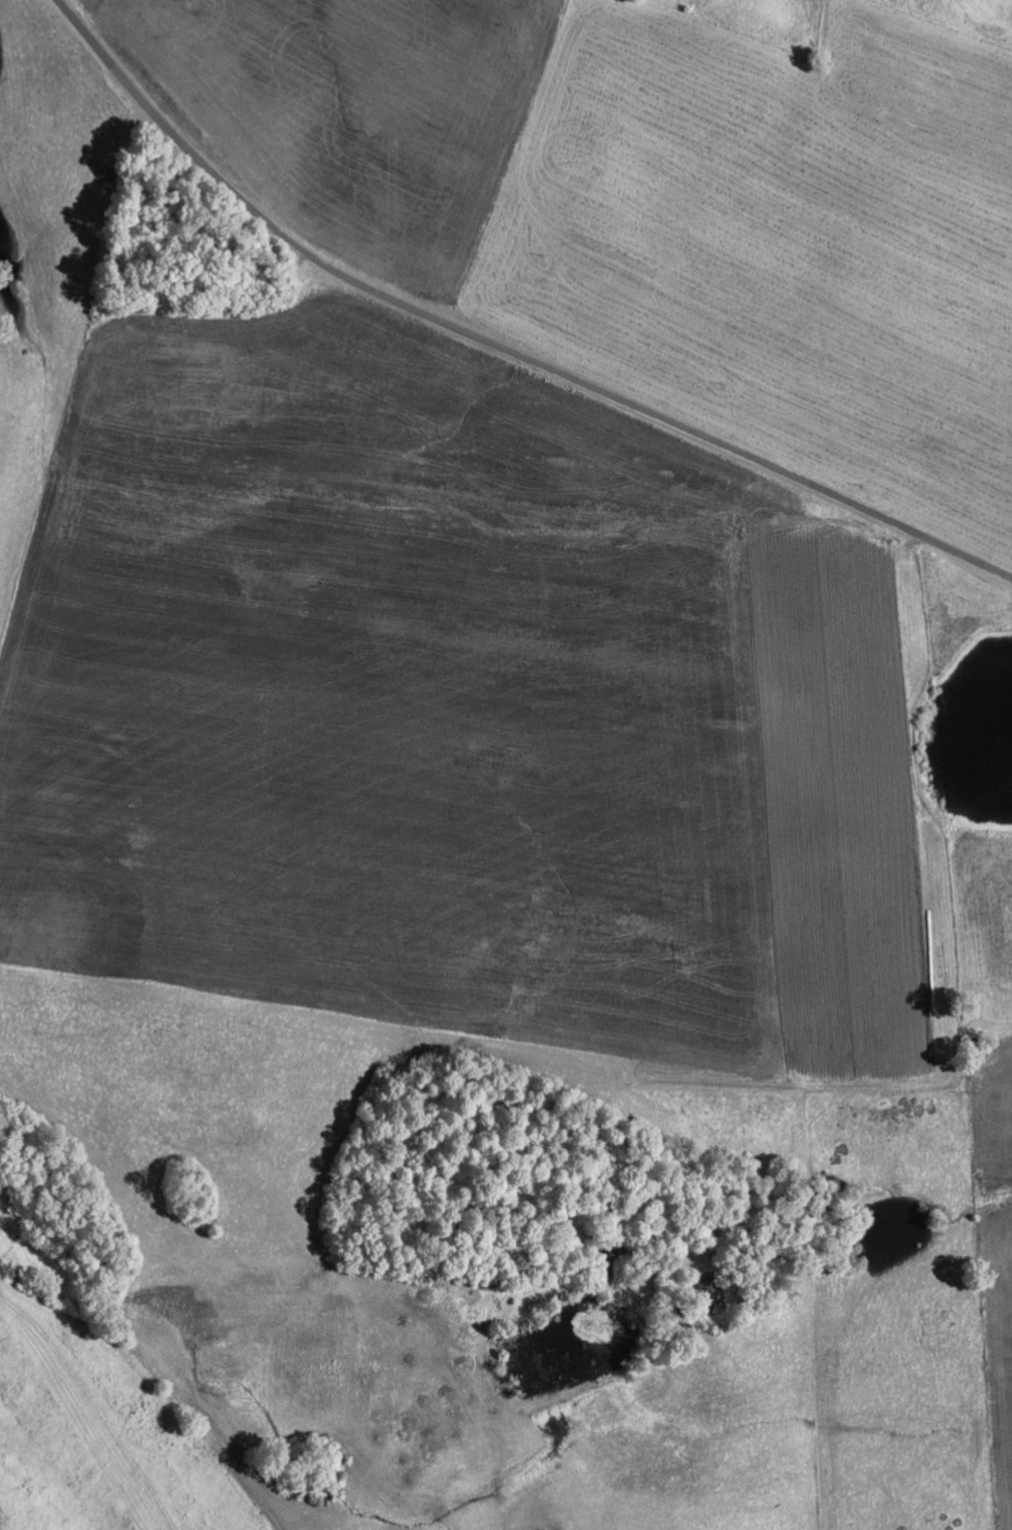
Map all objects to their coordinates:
road: (495, 345)
road: (985, 1444)

